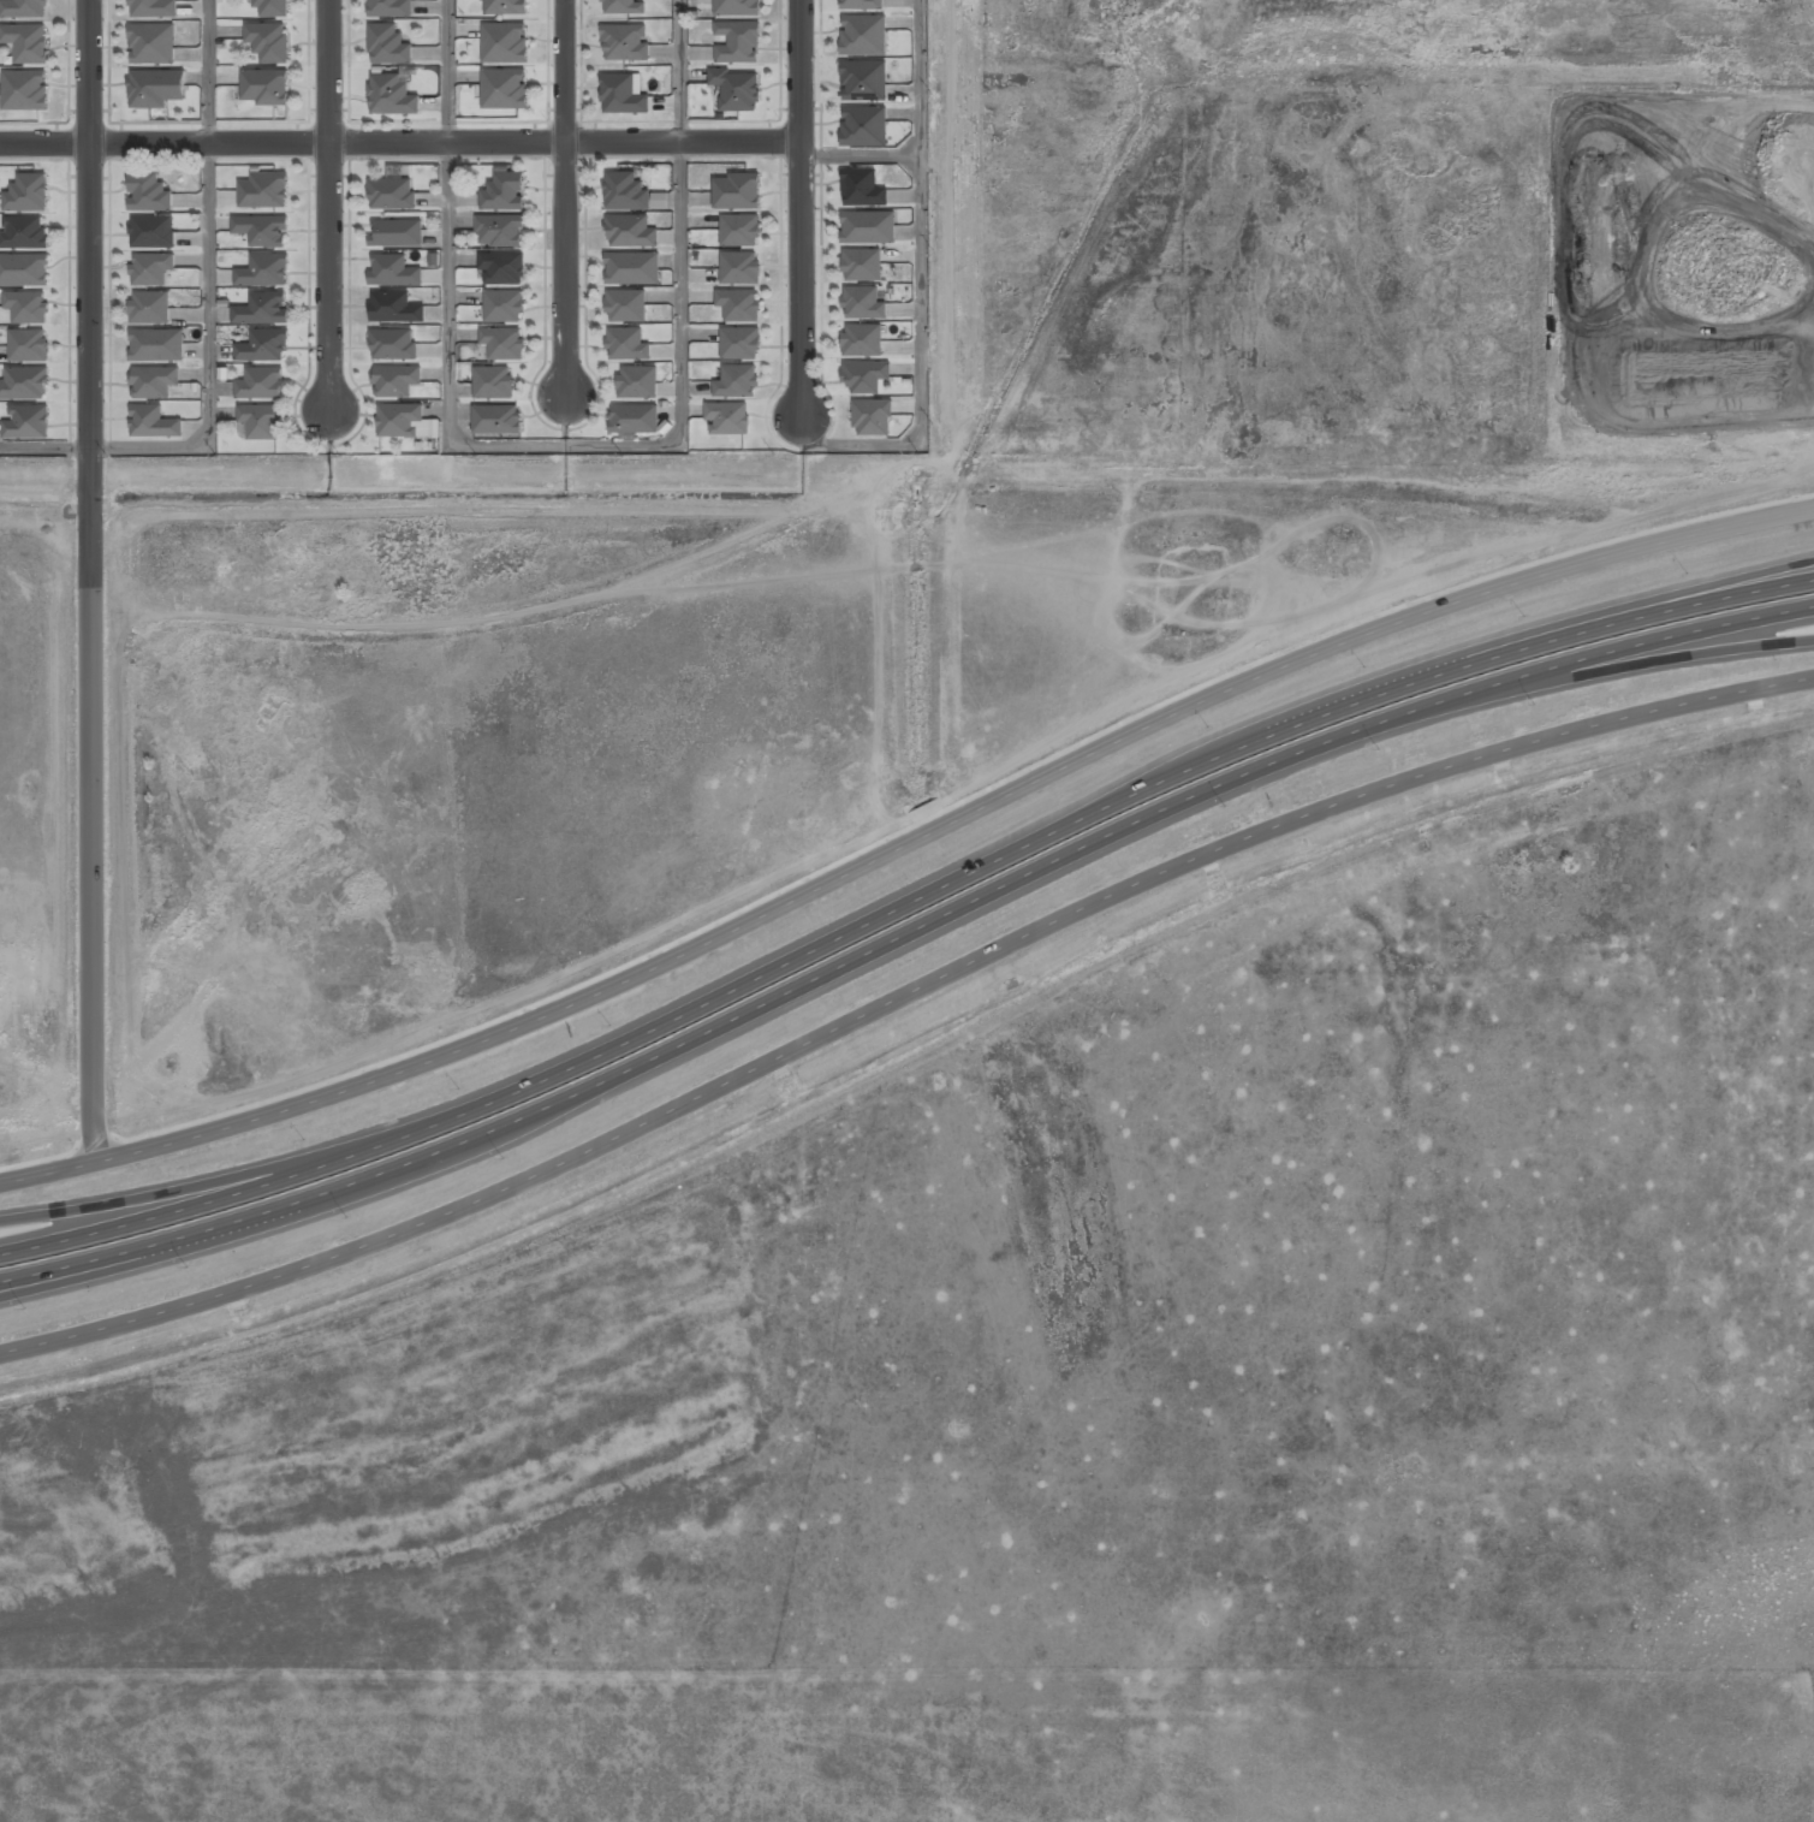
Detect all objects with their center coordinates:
building: (499, 5)
building: (862, 5)
building: (273, 7)
building: (630, 7)
building: (737, 7)
building: (23, 8)
building: (154, 8)
building: (391, 8)
building: (864, 35)
building: (268, 41)
building: (26, 42)
building: (153, 43)
building: (505, 43)
building: (631, 43)
building: (738, 43)
building: (388, 44)
building: (864, 81)
building: (157, 88)
building: (269, 88)
building: (505, 89)
building: (737, 90)
building: (25, 91)
building: (629, 95)
building: (391, 96)
building: (864, 126)
road: (399, 141)
road: (858, 153)
building: (862, 189)
building: (623, 190)
building: (263, 191)
building: (738, 191)
building: (505, 192)
building: (29, 194)
building: (149, 194)
building: (392, 195)
road: (561, 195)
road: (799, 204)
road: (329, 207)
building: (869, 229)
building: (500, 230)
building: (262, 231)
building: (739, 231)
building: (611, 232)
building: (25, 233)
building: (153, 233)
building: (398, 235)
building: (863, 265)
building: (504, 268)
building: (625, 268)
building: (739, 268)
building: (24, 269)
building: (150, 271)
building: (393, 272)
building: (263, 273)
road: (918, 292)
building: (863, 304)
building: (626, 305)
building: (739, 305)
building: (505, 307)
building: (26, 308)
building: (149, 309)
building: (395, 309)
building: (262, 310)
road: (208, 327)
building: (861, 340)
building: (502, 344)
building: (628, 344)
building: (741, 344)
building: (394, 345)
building: (29, 346)
building: (156, 346)
building: (263, 348)
building: (866, 376)
building: (395, 381)
building: (737, 381)
building: (493, 382)
building: (25, 384)
building: (154, 384)
building: (638, 384)
building: (261, 385)
building: (873, 417)
building: (498, 420)
building: (635, 420)
building: (730, 420)
building: (399, 421)
building: (260, 422)
building: (28, 423)
building: (154, 423)
road: (564, 444)
road: (84, 578)
road: (1720, 647)
road: (905, 842)
road: (1005, 843)
road: (903, 943)
road: (900, 998)
road: (111, 1203)
road: (112, 1221)

